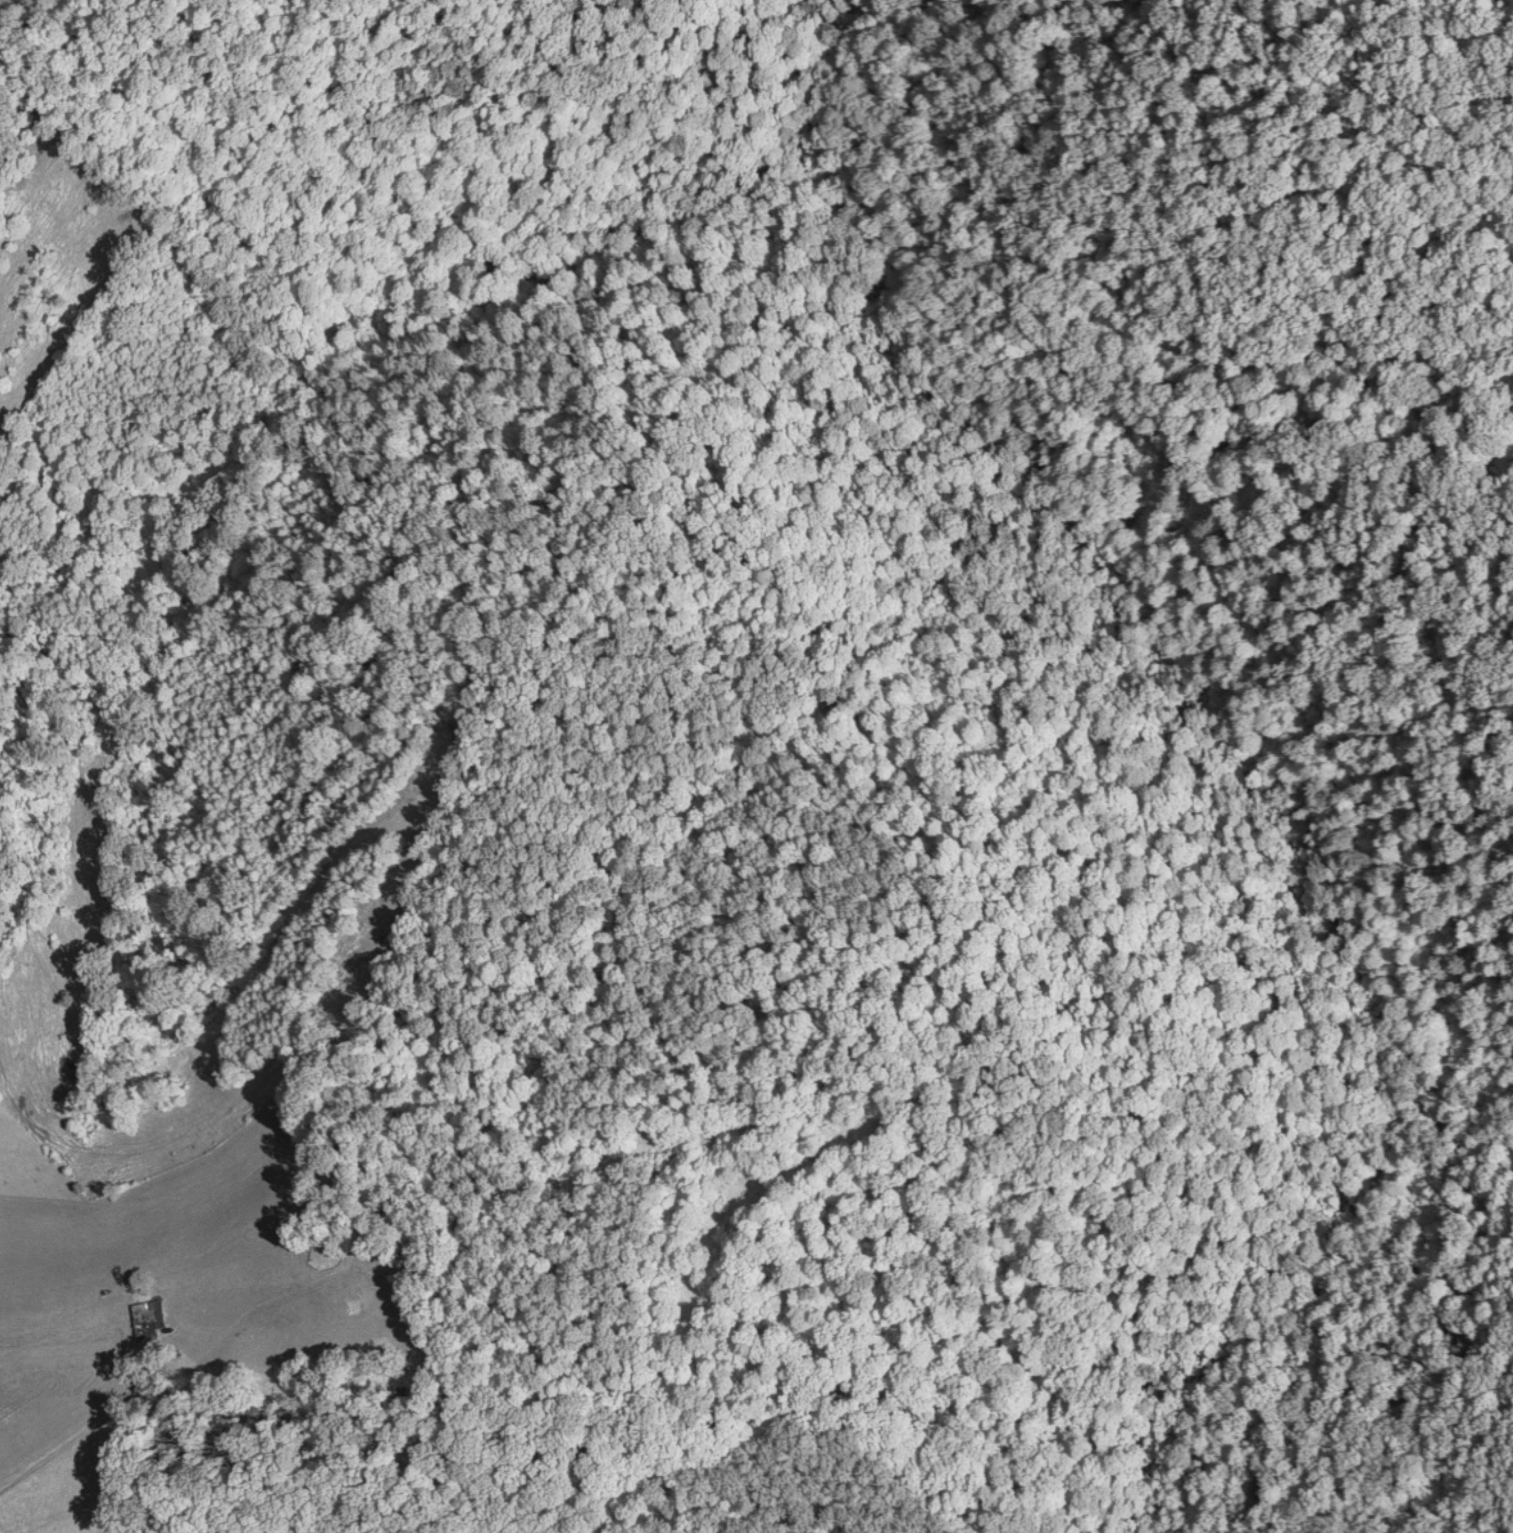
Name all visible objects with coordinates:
road: (296, 1315)

